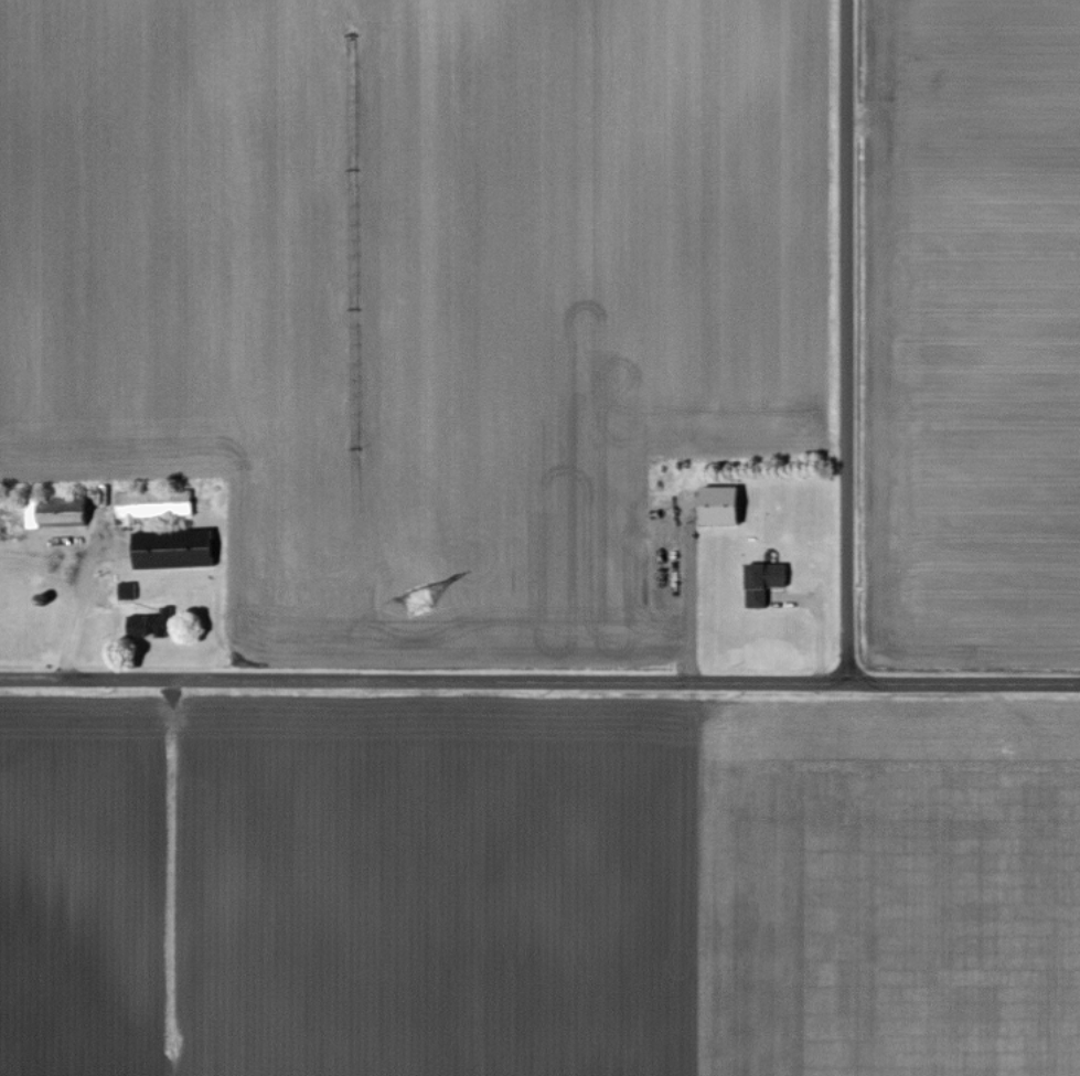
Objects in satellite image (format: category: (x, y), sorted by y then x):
road: (848, 343)
building: (159, 508)
building: (728, 509)
building: (63, 516)
building: (180, 552)
building: (770, 585)
power tower: (415, 590)
building: (132, 594)
building: (158, 626)
road: (539, 683)

